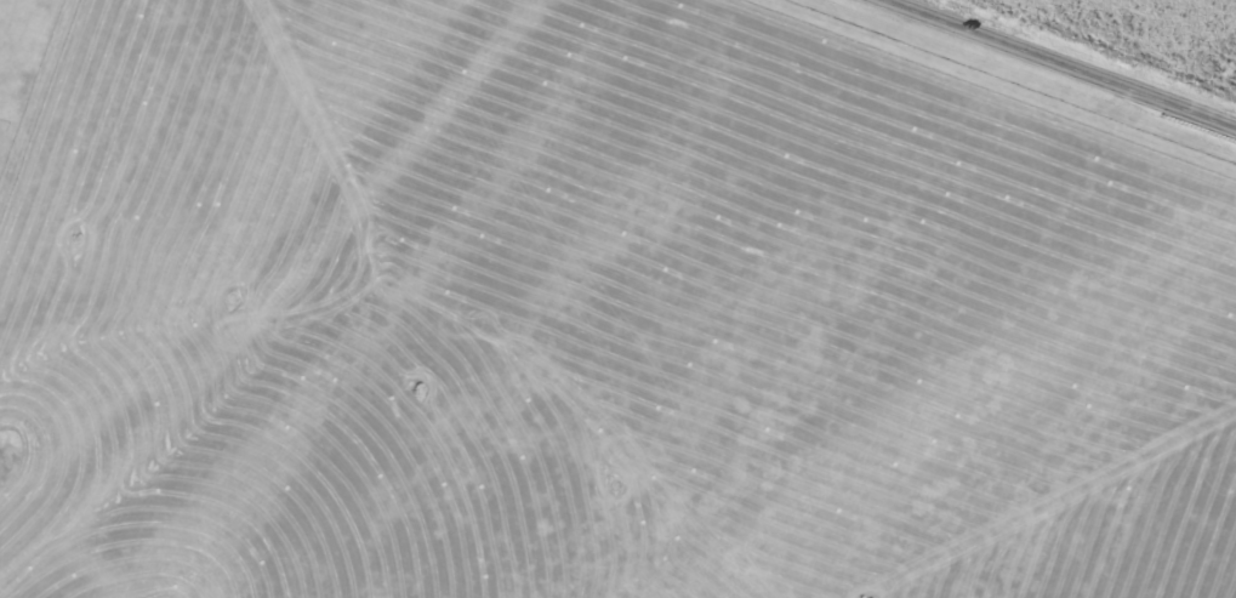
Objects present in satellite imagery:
road: (1059, 63)

